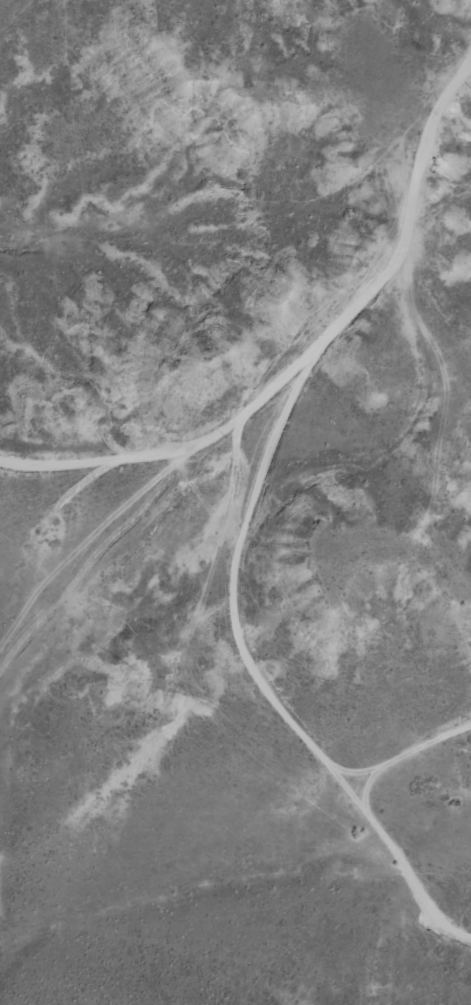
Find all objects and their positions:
road: (344, 376)
road: (289, 730)

